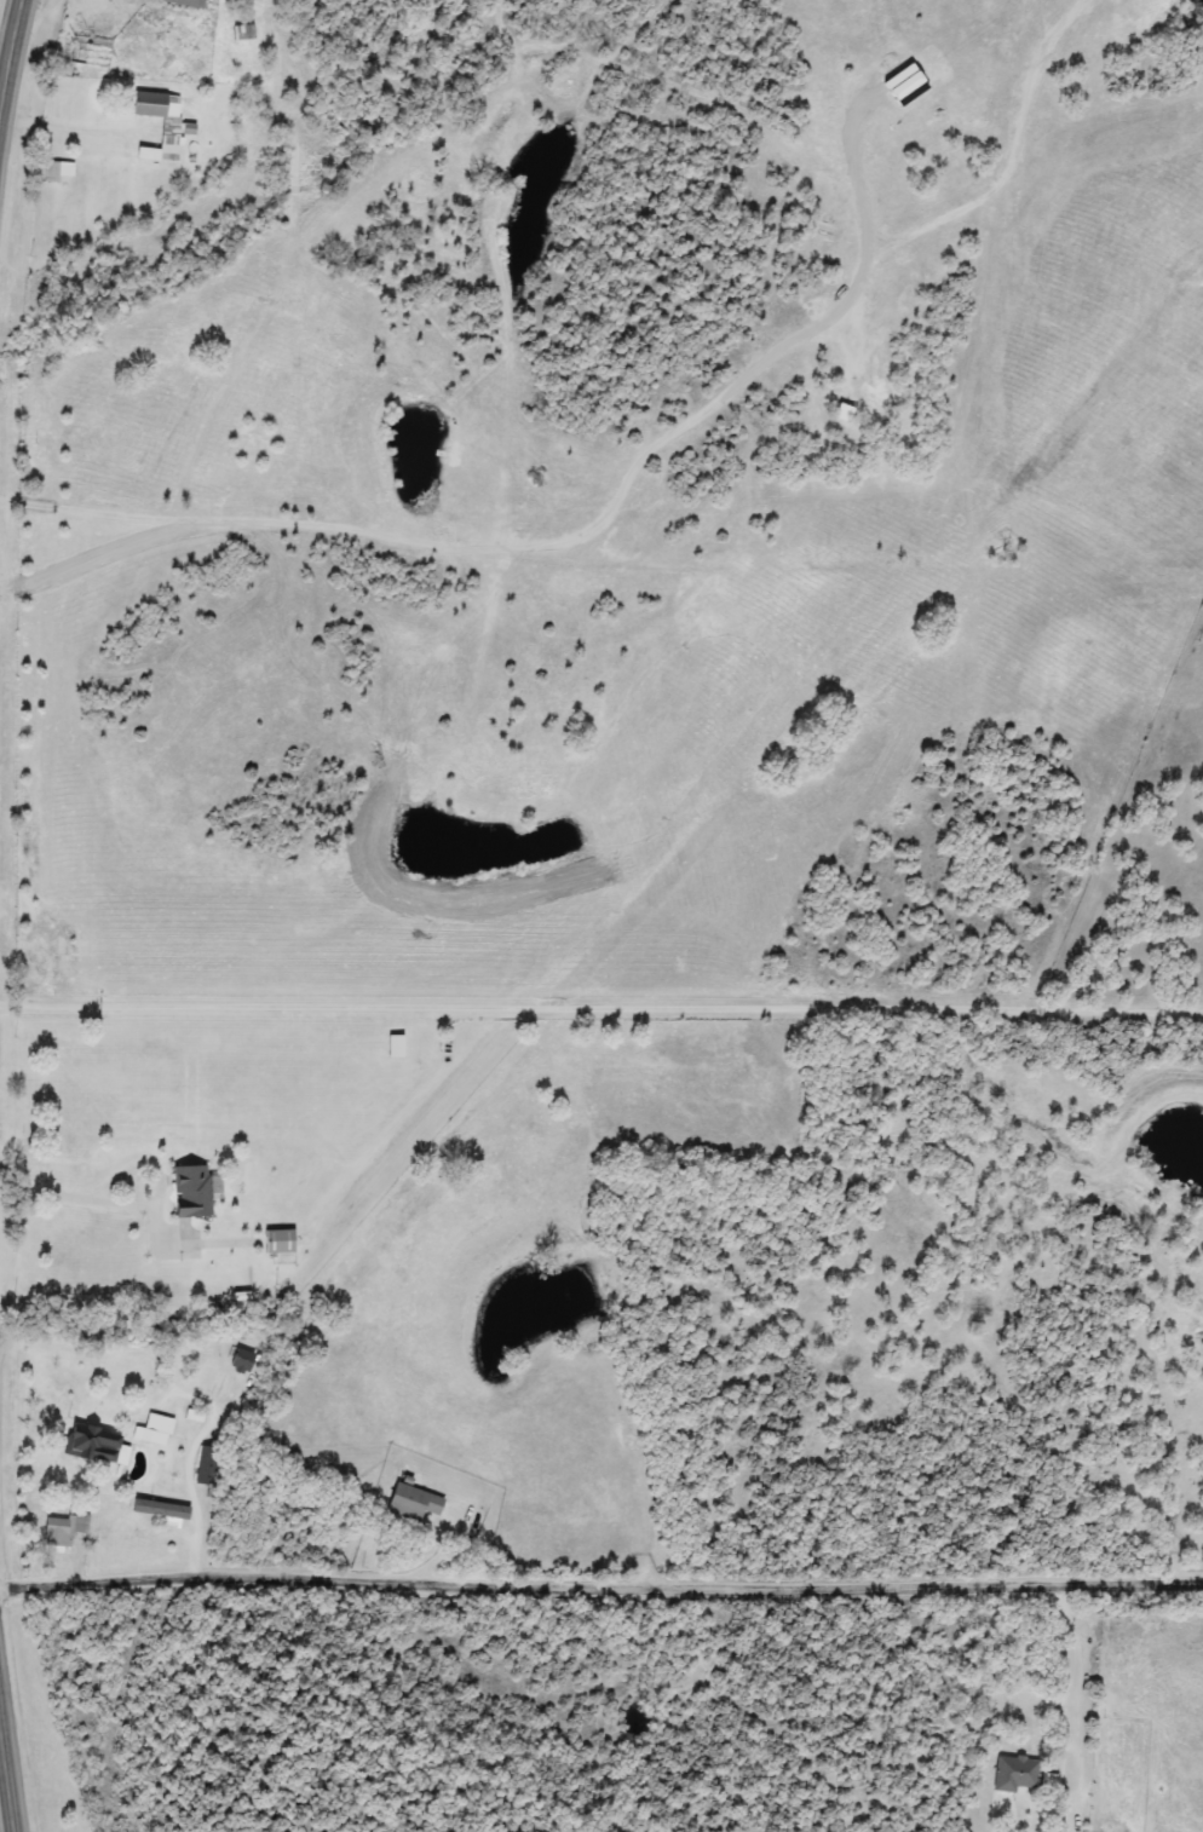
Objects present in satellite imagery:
building: (182, 2)
road: (8, 54)
building: (160, 123)
road: (77, 125)
building: (56, 171)
railway: (542, 989)
building: (392, 1047)
road: (161, 1180)
building: (189, 1191)
road: (46, 1194)
building: (277, 1244)
building: (240, 1361)
building: (152, 1430)
building: (92, 1445)
building: (207, 1467)
building: (410, 1503)
building: (157, 1509)
building: (63, 1528)
road: (600, 1575)
road: (1076, 1667)
building: (1013, 1774)
road: (6, 1776)

